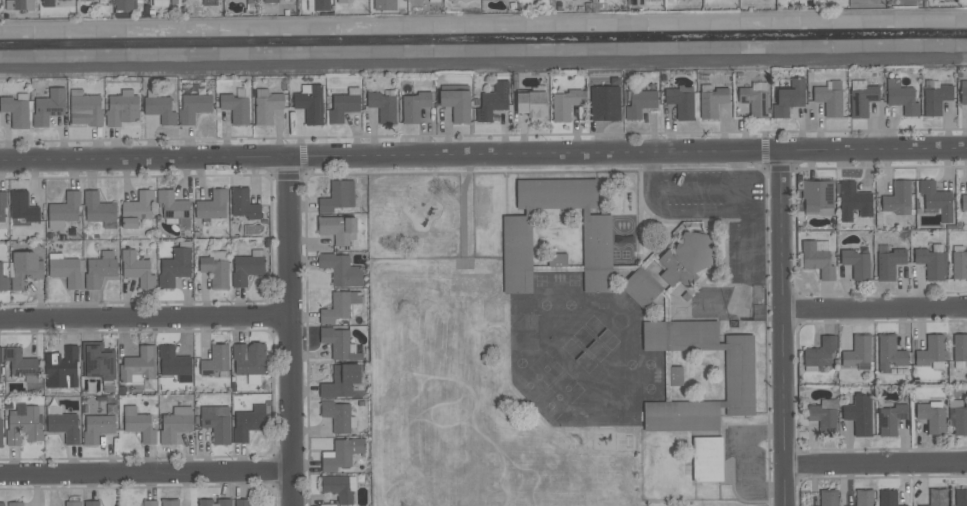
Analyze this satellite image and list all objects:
building: (86, 0)
building: (251, 1)
building: (270, 1)
building: (159, 2)
building: (48, 3)
building: (125, 4)
building: (636, 4)
building: (23, 5)
building: (321, 5)
building: (384, 5)
road: (483, 26)
building: (963, 96)
building: (789, 99)
building: (936, 99)
building: (903, 100)
building: (493, 101)
building: (863, 101)
building: (713, 102)
building: (754, 102)
building: (829, 102)
building: (681, 103)
building: (456, 104)
building: (566, 104)
building: (605, 104)
building: (640, 104)
building: (311, 105)
building: (532, 105)
building: (267, 106)
building: (414, 106)
building: (49, 107)
building: (383, 107)
building: (194, 108)
building: (342, 108)
building: (160, 109)
building: (235, 109)
building: (121, 110)
building: (86, 111)
building: (16, 112)
road: (953, 147)
road: (469, 155)
road: (736, 169)
road: (694, 185)
road: (744, 195)
building: (817, 195)
building: (338, 197)
building: (898, 199)
building: (936, 200)
building: (853, 202)
building: (963, 204)
building: (2, 205)
building: (243, 205)
building: (212, 206)
building: (22, 208)
building: (65, 208)
building: (174, 208)
building: (98, 209)
building: (137, 210)
road: (707, 212)
park: (414, 213)
building: (337, 229)
building: (517, 254)
building: (686, 259)
building: (557, 260)
building: (817, 260)
building: (929, 263)
building: (857, 264)
building: (889, 264)
building: (959, 265)
building: (175, 267)
building: (26, 269)
building: (136, 269)
building: (246, 269)
building: (341, 270)
building: (66, 272)
building: (99, 272)
building: (215, 272)
building: (3, 281)
building: (641, 289)
building: (336, 308)
road: (874, 310)
road: (144, 318)
road: (781, 329)
road: (289, 332)
building: (338, 344)
building: (960, 348)
building: (931, 351)
building: (820, 353)
building: (856, 353)
building: (889, 354)
building: (0, 356)
building: (249, 358)
building: (215, 361)
building: (96, 362)
building: (173, 362)
building: (20, 363)
building: (139, 364)
building: (61, 369)
building: (675, 376)
building: (738, 376)
building: (341, 382)
building: (859, 414)
building: (337, 416)
building: (932, 418)
building: (823, 419)
building: (890, 419)
building: (957, 421)
building: (216, 423)
building: (248, 423)
building: (25, 425)
building: (64, 426)
building: (97, 428)
building: (140, 428)
building: (174, 428)
building: (1, 433)
building: (343, 454)
building: (707, 460)
road: (876, 466)
road: (146, 473)
building: (337, 489)
building: (938, 497)
building: (864, 498)
building: (888, 498)
building: (961, 498)
building: (828, 499)
building: (214, 502)
building: (149, 503)
building: (169, 503)
building: (242, 503)
building: (2, 504)
building: (15, 504)
building: (73, 504)
building: (91, 504)

